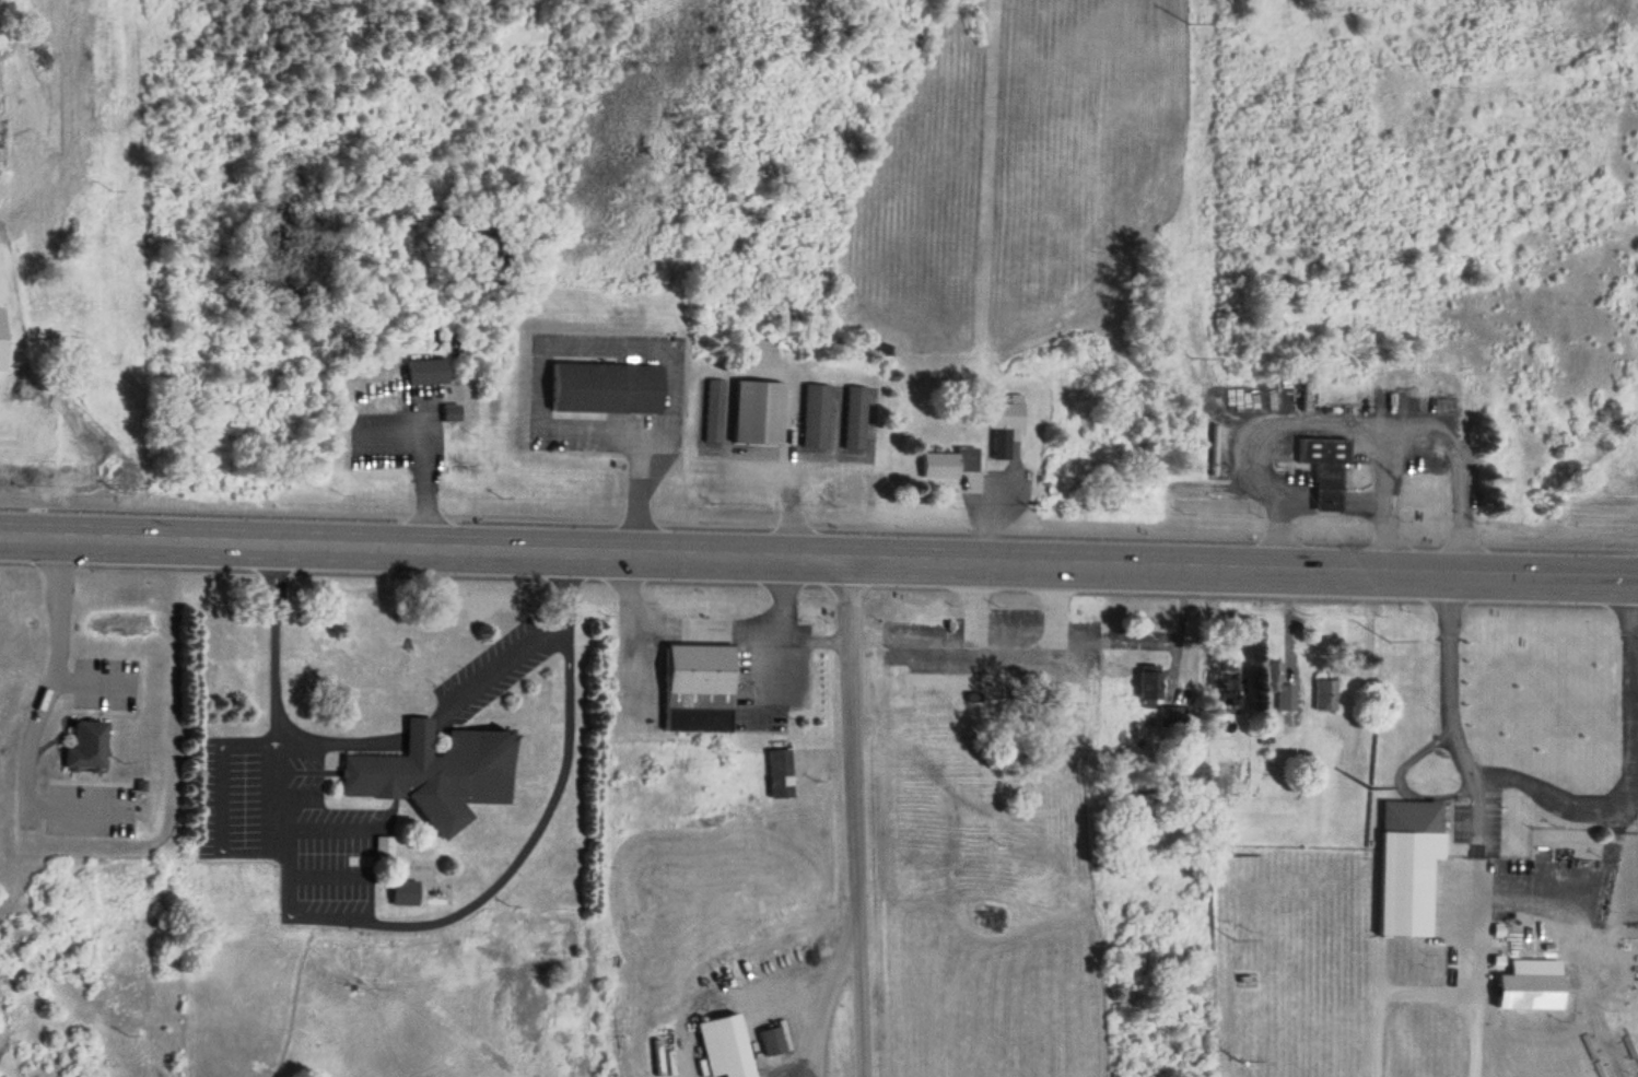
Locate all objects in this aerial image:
building: (425, 372)
building: (605, 388)
building: (712, 410)
building: (757, 411)
building: (449, 412)
building: (814, 414)
building: (854, 417)
building: (1001, 444)
building: (950, 464)
building: (1325, 469)
road: (818, 559)
road: (504, 651)
parking lot: (490, 657)
road: (84, 674)
parking lot: (101, 674)
building: (947, 681)
building: (1049, 681)
building: (1147, 682)
building: (1221, 682)
building: (1276, 683)
building: (698, 686)
building: (1323, 693)
road: (32, 714)
building: (83, 736)
building: (433, 758)
building: (960, 769)
building: (1350, 782)
parking lot: (87, 800)
road: (853, 818)
parking lot: (283, 823)
building: (1406, 863)
building: (403, 891)
road: (386, 916)
building: (1529, 990)
building: (771, 1039)
building: (725, 1045)

